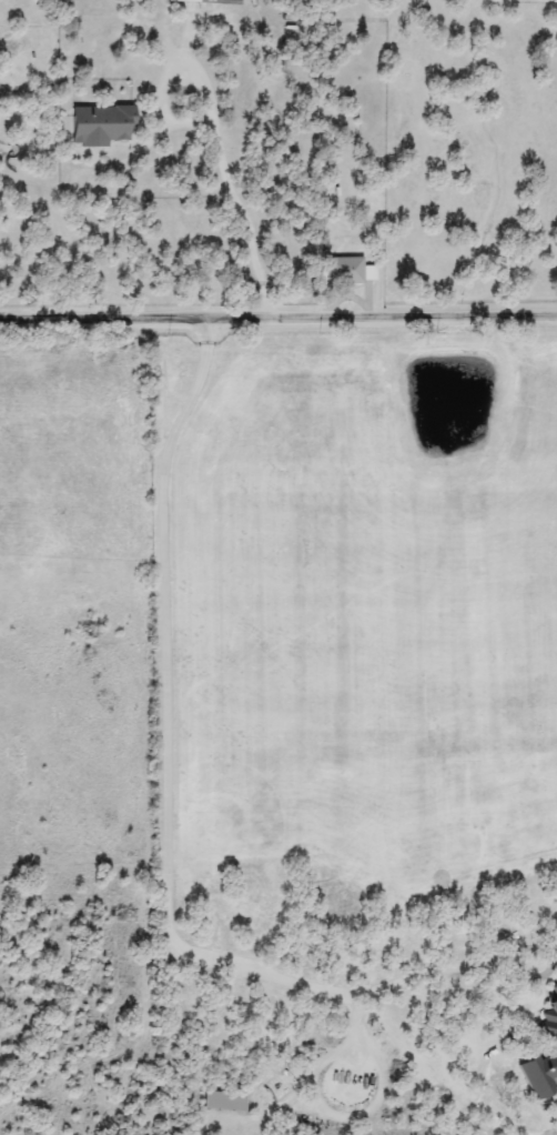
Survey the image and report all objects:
building: (206, 1)
building: (99, 125)
building: (343, 271)
road: (278, 314)
road: (85, 451)
road: (170, 784)
building: (548, 1016)
building: (222, 1102)

